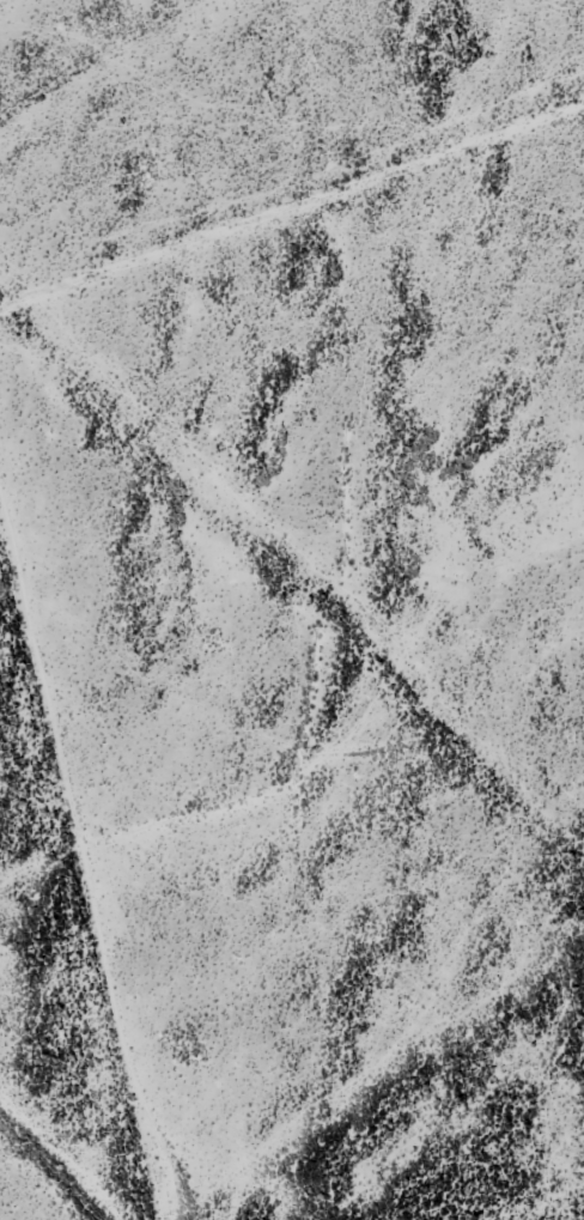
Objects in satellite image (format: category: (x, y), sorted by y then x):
road: (57, 11)

